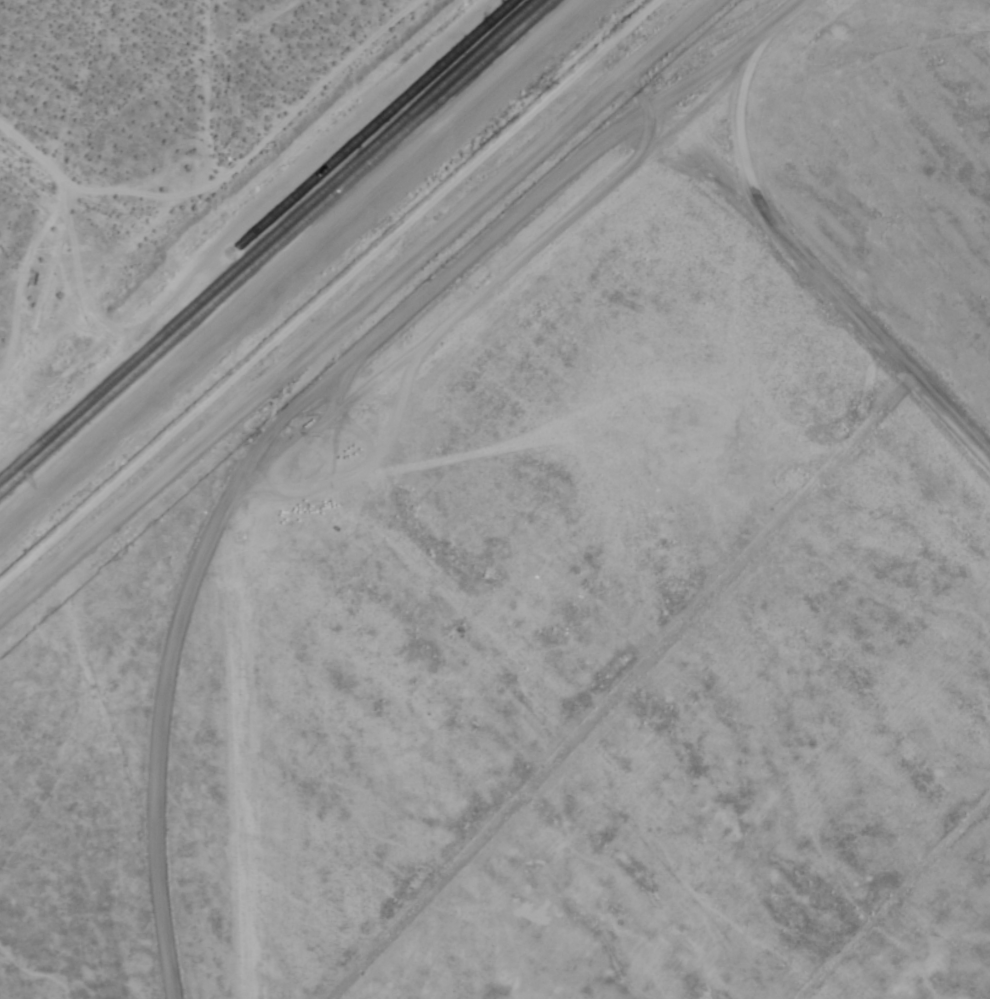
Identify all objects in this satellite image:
road: (206, 95)
railway: (384, 119)
railway: (271, 241)
railway: (278, 247)
road: (357, 310)
road: (300, 404)
airport: (558, 569)
airport apron: (645, 651)
road: (621, 689)

